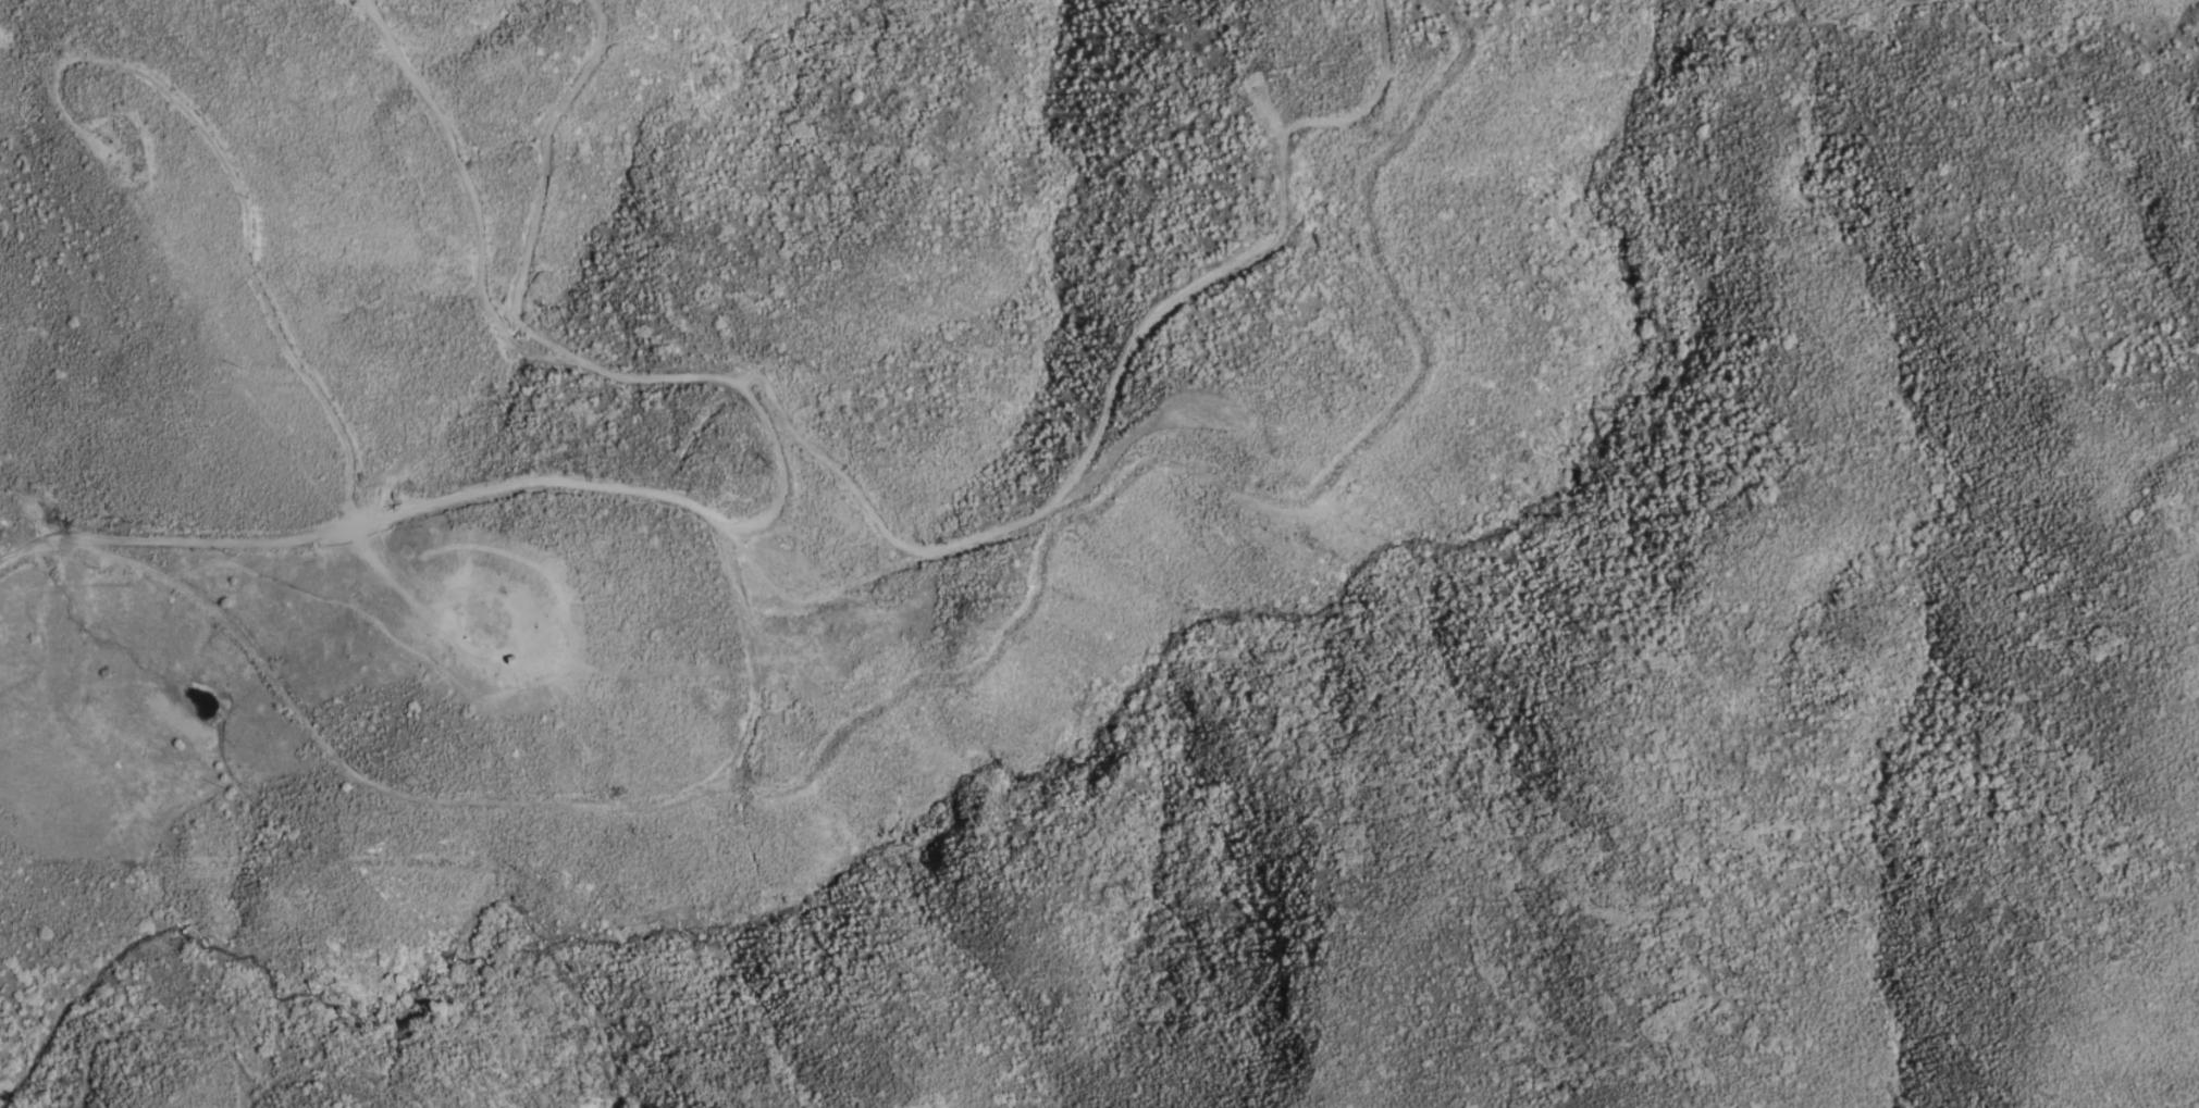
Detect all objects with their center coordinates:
road: (745, 525)

